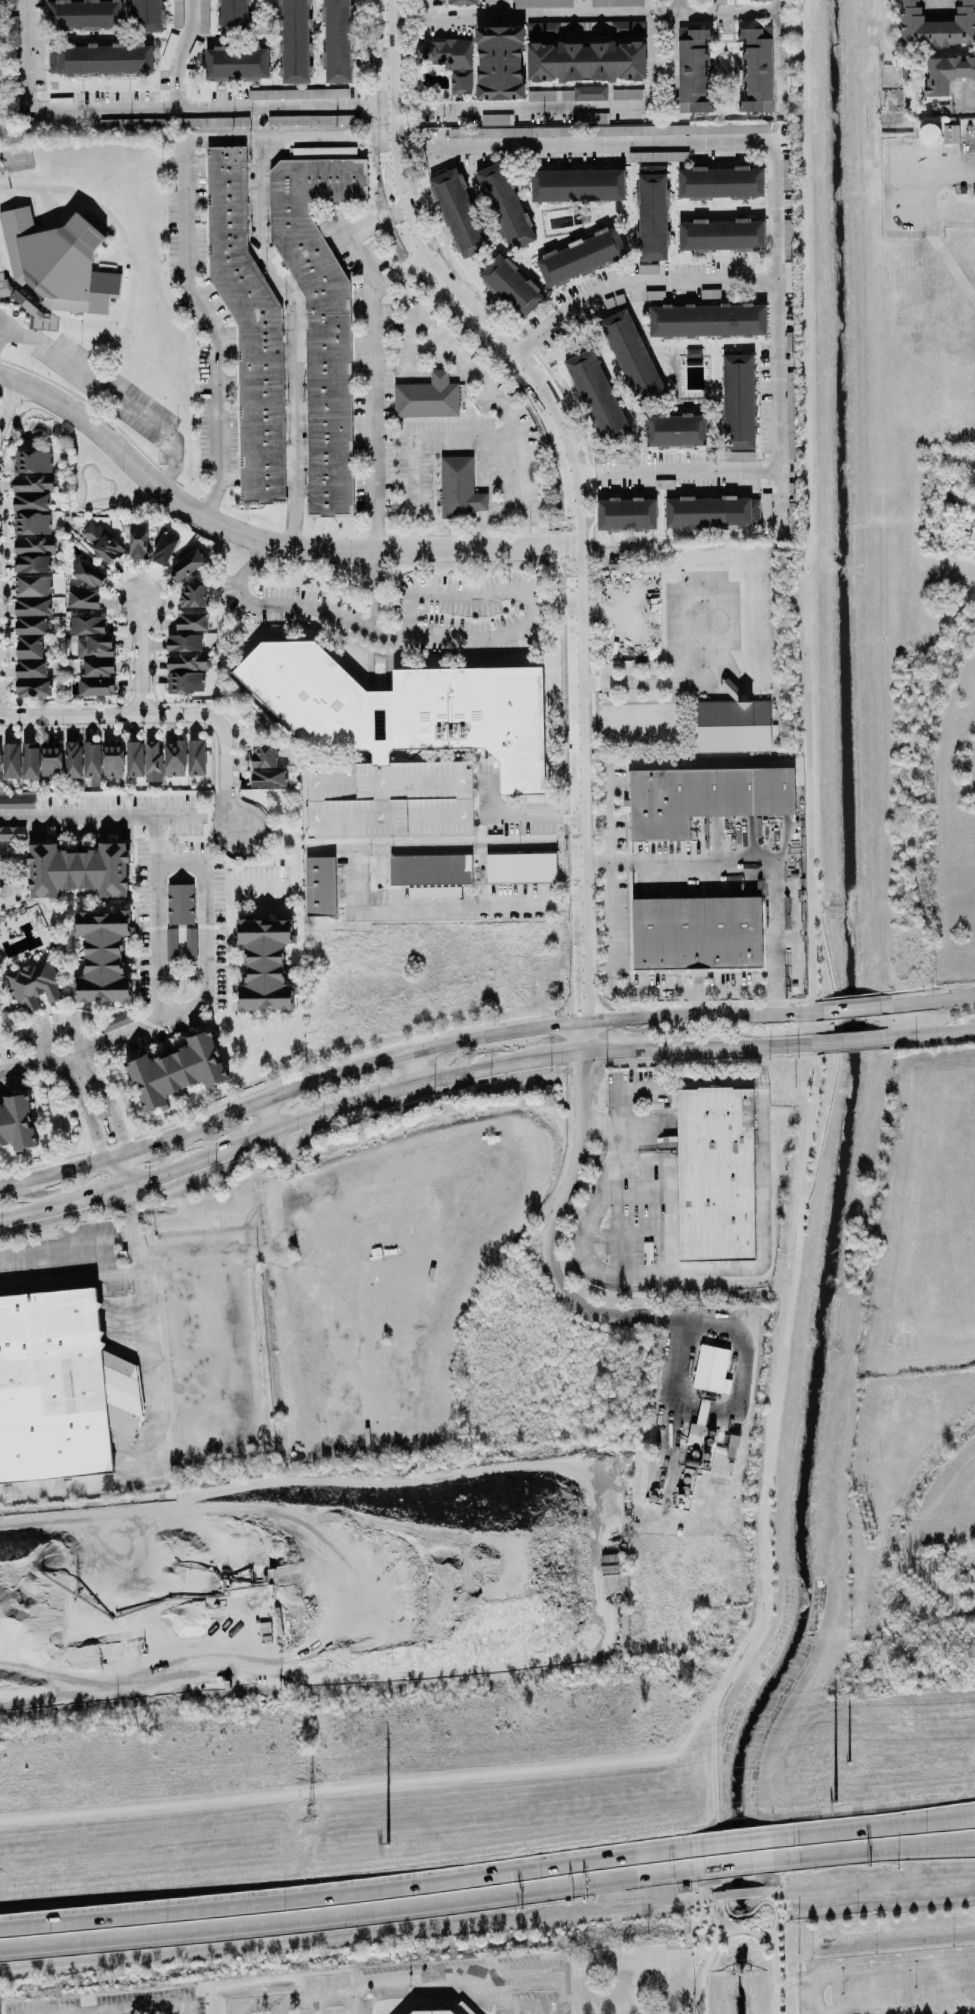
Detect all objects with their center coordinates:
building: (488, 1)
building: (461, 2)
building: (541, 3)
building: (615, 3)
road: (676, 5)
road: (499, 9)
road: (580, 9)
road: (651, 9)
road: (423, 10)
road: (675, 10)
building: (83, 14)
building: (145, 15)
building: (203, 15)
building: (233, 16)
road: (663, 17)
road: (519, 18)
building: (936, 25)
road: (885, 26)
building: (566, 28)
building: (628, 28)
building: (336, 40)
building: (294, 41)
road: (182, 53)
road: (782, 56)
building: (102, 59)
building: (449, 61)
building: (586, 61)
building: (236, 63)
building: (499, 63)
building: (755, 69)
building: (693, 70)
building: (946, 73)
building: (589, 93)
building: (627, 94)
building: (549, 95)
road: (561, 104)
road: (962, 106)
road: (142, 107)
road: (373, 107)
building: (591, 118)
building: (495, 119)
building: (315, 120)
building: (589, 131)
building: (950, 133)
building: (928, 134)
road: (431, 139)
building: (323, 152)
building: (659, 156)
road: (956, 167)
building: (720, 182)
building: (577, 185)
building: (504, 206)
building: (651, 212)
building: (458, 213)
building: (720, 235)
building: (787, 236)
building: (580, 257)
building: (53, 269)
road: (400, 274)
building: (788, 276)
road: (636, 278)
building: (510, 285)
building: (320, 318)
building: (706, 320)
building: (247, 329)
road: (295, 339)
building: (631, 356)
road: (111, 392)
building: (596, 396)
building: (426, 397)
road: (492, 400)
road: (7, 402)
building: (737, 402)
road: (376, 403)
building: (675, 430)
road: (413, 442)
building: (33, 462)
building: (32, 483)
road: (571, 483)
building: (458, 488)
building: (30, 502)
building: (711, 512)
building: (765, 513)
building: (625, 514)
building: (31, 523)
road: (264, 538)
building: (138, 540)
building: (101, 542)
building: (34, 545)
building: (164, 548)
building: (31, 563)
building: (186, 565)
building: (87, 574)
building: (32, 585)
road: (810, 589)
building: (193, 595)
building: (82, 599)
building: (32, 607)
building: (192, 621)
building: (86, 624)
building: (27, 626)
road: (530, 629)
road: (715, 637)
building: (184, 642)
building: (93, 646)
building: (28, 647)
road: (136, 653)
building: (187, 661)
building: (97, 667)
building: (30, 669)
building: (184, 682)
building: (96, 686)
building: (33, 688)
road: (109, 715)
building: (733, 724)
building: (400, 738)
building: (263, 756)
building: (196, 757)
building: (113, 758)
building: (174, 758)
building: (72, 759)
building: (91, 759)
building: (134, 759)
building: (11, 760)
building: (29, 760)
building: (52, 761)
building: (153, 761)
building: (0, 767)
road: (225, 776)
building: (268, 777)
building: (703, 798)
building: (16, 802)
road: (177, 813)
road: (512, 820)
building: (11, 833)
road: (602, 858)
road: (699, 860)
road: (155, 867)
building: (520, 868)
building: (430, 869)
building: (78, 870)
road: (244, 886)
building: (319, 886)
building: (433, 891)
building: (180, 904)
road: (470, 905)
building: (695, 934)
road: (207, 937)
road: (774, 937)
building: (190, 943)
building: (102, 956)
road: (621, 958)
road: (811, 960)
building: (264, 964)
building: (33, 984)
road: (722, 990)
road: (931, 1000)
road: (854, 1008)
road: (748, 1014)
road: (630, 1020)
road: (927, 1032)
road: (582, 1038)
road: (843, 1040)
road: (694, 1046)
road: (64, 1057)
road: (364, 1064)
road: (412, 1067)
road: (10, 1069)
building: (177, 1071)
road: (109, 1099)
road: (85, 1108)
road: (268, 1114)
building: (17, 1122)
road: (287, 1123)
road: (612, 1126)
road: (135, 1147)
road: (113, 1153)
road: (63, 1167)
road: (119, 1170)
building: (715, 1174)
road: (6, 1179)
road: (596, 1210)
road: (95, 1238)
road: (549, 1260)
road: (759, 1343)
building: (711, 1369)
building: (61, 1389)
road: (162, 1436)
road: (773, 1568)
power tower: (847, 1762)
road: (355, 1772)
power tower: (832, 1801)
power tower: (311, 1814)
road: (874, 1827)
road: (961, 1842)
road: (735, 1843)
road: (961, 1843)
power tower: (385, 1844)
road: (861, 1853)
road: (736, 1866)
road: (348, 1889)
road: (350, 1917)
railway: (487, 1931)
road: (713, 1949)
road: (871, 1958)
road: (894, 1968)
road: (532, 1970)
road: (405, 1980)
parking lot: (889, 1981)
road: (814, 1994)
road: (272, 2002)
road: (348, 2005)
road: (895, 2005)
road: (534, 2006)
road: (124, 2008)
road: (276, 2008)
road: (185, 2009)
building: (447, 2010)
road: (508, 2010)
road: (531, 2010)
road: (85, 2013)

